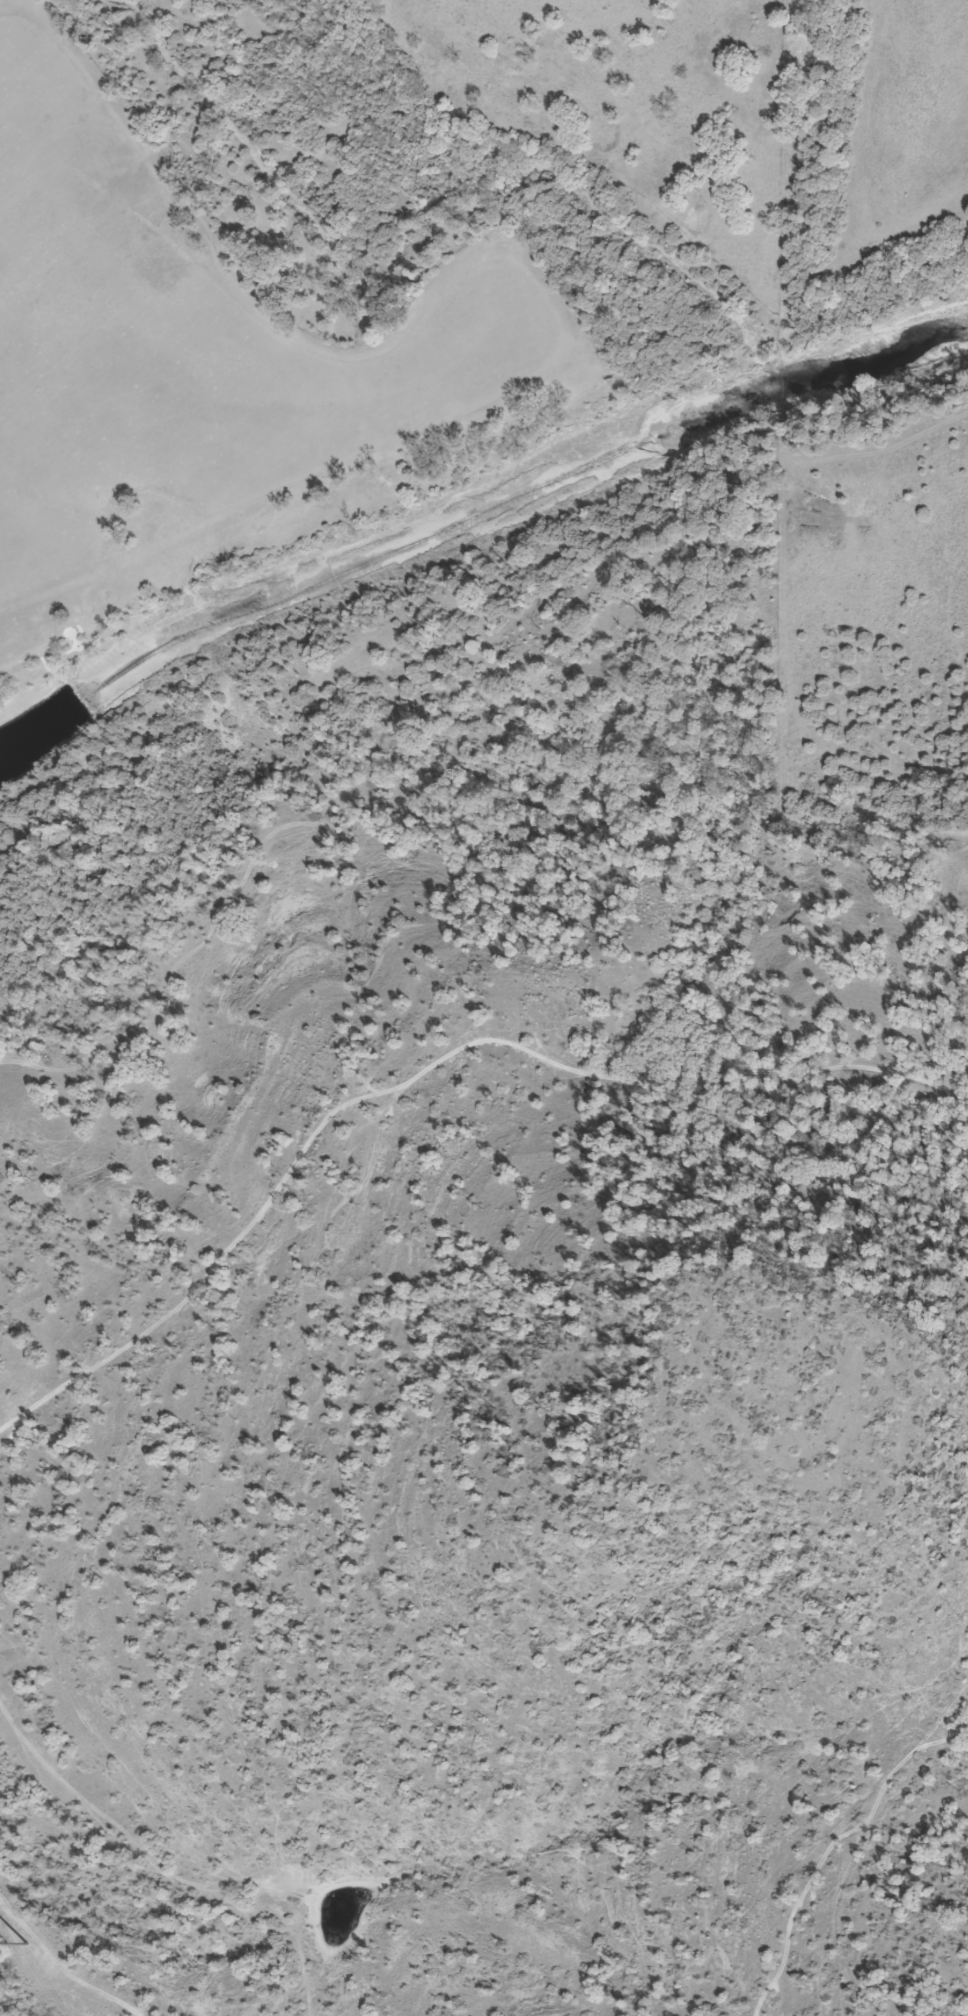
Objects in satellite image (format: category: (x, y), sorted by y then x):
power tower: (29, 1946)

